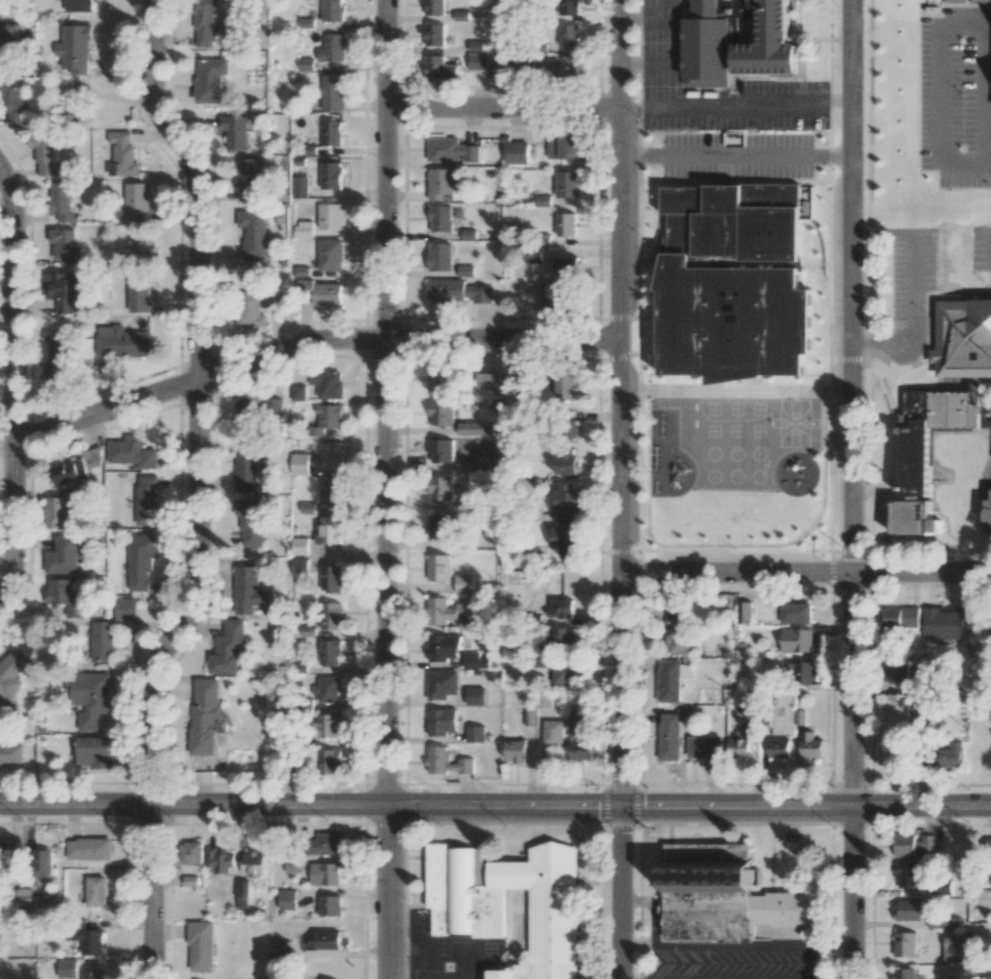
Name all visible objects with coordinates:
building: (80, 5)
building: (435, 7)
building: (567, 7)
building: (332, 10)
road: (630, 15)
road: (663, 15)
building: (204, 21)
road: (938, 27)
building: (8, 35)
building: (435, 35)
building: (564, 35)
building: (476, 46)
building: (332, 48)
building: (733, 48)
building: (74, 49)
building: (478, 61)
road: (659, 62)
road: (631, 63)
building: (305, 64)
building: (524, 64)
building: (440, 67)
building: (566, 68)
parking lot: (659, 70)
building: (210, 79)
building: (332, 92)
parking lot: (954, 94)
road: (839, 101)
building: (13, 103)
road: (631, 104)
road: (736, 105)
road: (503, 108)
building: (234, 131)
building: (331, 132)
building: (562, 147)
building: (451, 150)
building: (515, 151)
building: (44, 153)
road: (632, 154)
parking lot: (736, 154)
road: (736, 154)
building: (122, 155)
road: (840, 155)
road: (987, 164)
building: (330, 175)
building: (247, 179)
building: (442, 184)
building: (567, 184)
building: (298, 186)
building: (60, 200)
building: (542, 200)
building: (136, 203)
building: (329, 216)
building: (440, 218)
building: (565, 224)
building: (303, 229)
building: (253, 233)
building: (143, 243)
building: (65, 246)
parking lot: (979, 251)
building: (533, 254)
building: (330, 255)
building: (440, 257)
road: (912, 265)
building: (566, 266)
building: (465, 271)
parking lot: (911, 276)
building: (732, 283)
building: (62, 290)
building: (457, 291)
building: (138, 292)
building: (559, 295)
building: (257, 307)
building: (122, 342)
road: (311, 343)
road: (889, 345)
building: (55, 357)
building: (440, 379)
building: (488, 381)
building: (327, 383)
building: (513, 383)
road: (15, 384)
building: (566, 385)
building: (298, 393)
road: (622, 403)
road: (852, 404)
building: (941, 411)
building: (440, 413)
building: (247, 415)
building: (326, 419)
building: (475, 428)
building: (440, 450)
building: (131, 453)
building: (330, 456)
building: (92, 457)
building: (564, 463)
building: (299, 464)
building: (245, 470)
building: (67, 472)
road: (195, 488)
road: (385, 489)
building: (439, 489)
building: (329, 492)
building: (565, 496)
building: (147, 501)
building: (987, 508)
building: (58, 514)
building: (248, 524)
building: (437, 527)
building: (329, 530)
building: (565, 535)
building: (299, 546)
building: (61, 557)
building: (140, 563)
building: (298, 568)
building: (438, 569)
road: (806, 573)
building: (329, 580)
building: (463, 585)
building: (247, 592)
building: (64, 596)
building: (561, 608)
building: (124, 610)
building: (445, 612)
building: (744, 612)
building: (794, 613)
building: (329, 616)
building: (899, 619)
building: (943, 623)
building: (466, 624)
building: (678, 634)
building: (795, 640)
building: (559, 641)
building: (100, 642)
building: (226, 649)
building: (442, 649)
building: (328, 653)
building: (475, 661)
building: (896, 669)
building: (801, 672)
building: (10, 673)
building: (564, 674)
building: (672, 679)
building: (441, 686)
building: (327, 690)
building: (475, 696)
building: (88, 698)
building: (543, 698)
building: (897, 705)
building: (203, 716)
building: (440, 723)
building: (577, 723)
building: (324, 726)
building: (475, 733)
building: (553, 734)
building: (669, 737)
building: (739, 745)
building: (810, 745)
building: (705, 747)
building: (778, 748)
building: (516, 751)
building: (580, 751)
building: (92, 752)
building: (10, 755)
building: (950, 755)
building: (319, 761)
building: (445, 763)
road: (424, 807)
traffic signals: (620, 807)
road: (920, 808)
building: (320, 844)
building: (912, 845)
building: (989, 848)
building: (88, 849)
building: (8, 853)
building: (190, 853)
building: (42, 862)
building: (219, 862)
building: (253, 863)
building: (292, 866)
building: (324, 874)
building: (907, 875)
building: (942, 887)
building: (242, 890)
building: (95, 891)
road: (620, 892)
road: (849, 894)
building: (24, 895)
building: (722, 895)
building: (286, 900)
building: (329, 905)
road: (651, 910)
building: (908, 910)
building: (467, 922)
building: (943, 922)
building: (82, 937)
building: (325, 939)
road: (735, 944)
building: (905, 944)
building: (200, 945)
building: (953, 949)
building: (279, 964)
building: (66, 969)
building: (904, 973)
building: (92, 975)

